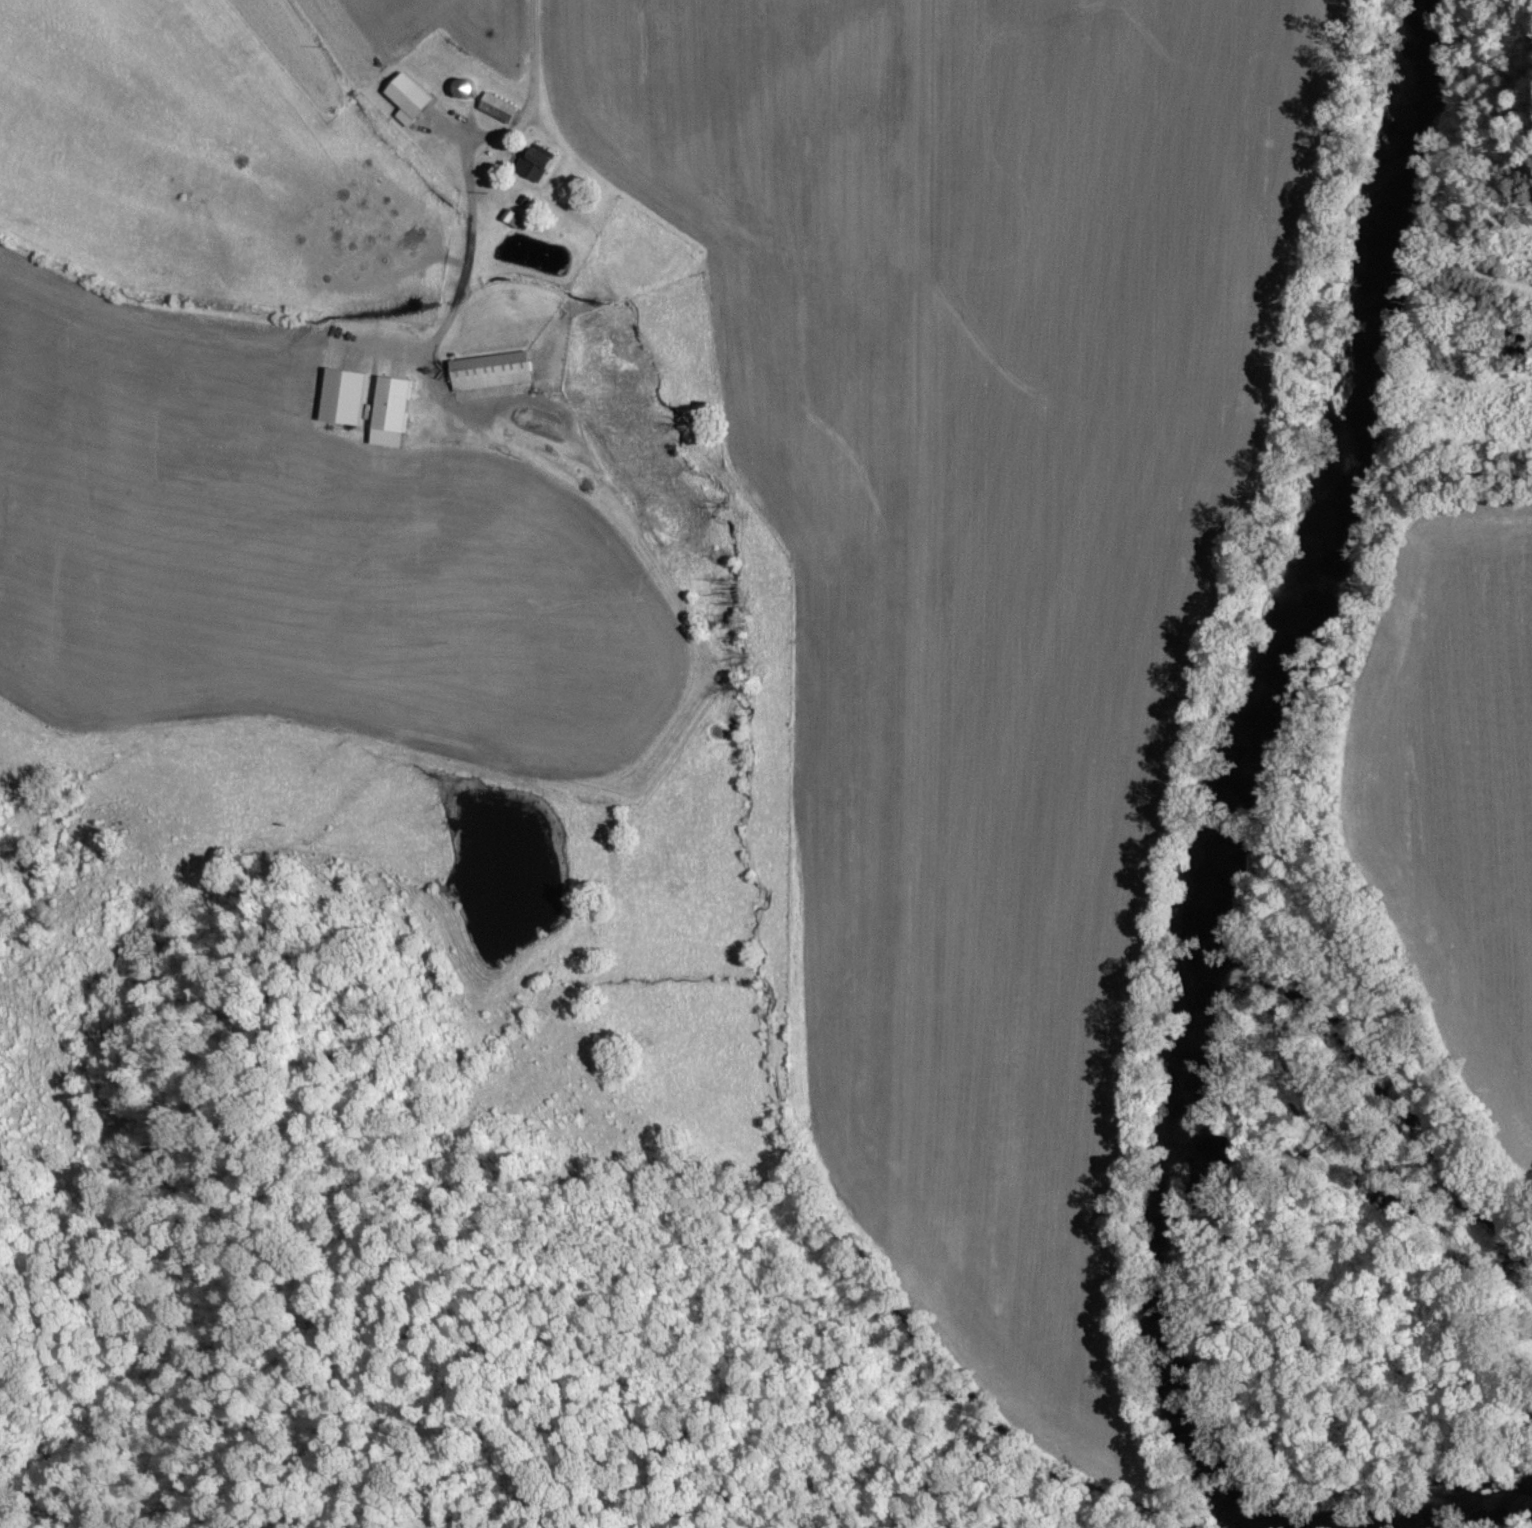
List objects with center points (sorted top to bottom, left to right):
road: (530, 64)
building: (407, 98)
building: (497, 107)
building: (533, 164)
building: (490, 371)
building: (343, 398)
building: (389, 412)
road: (1268, 451)

